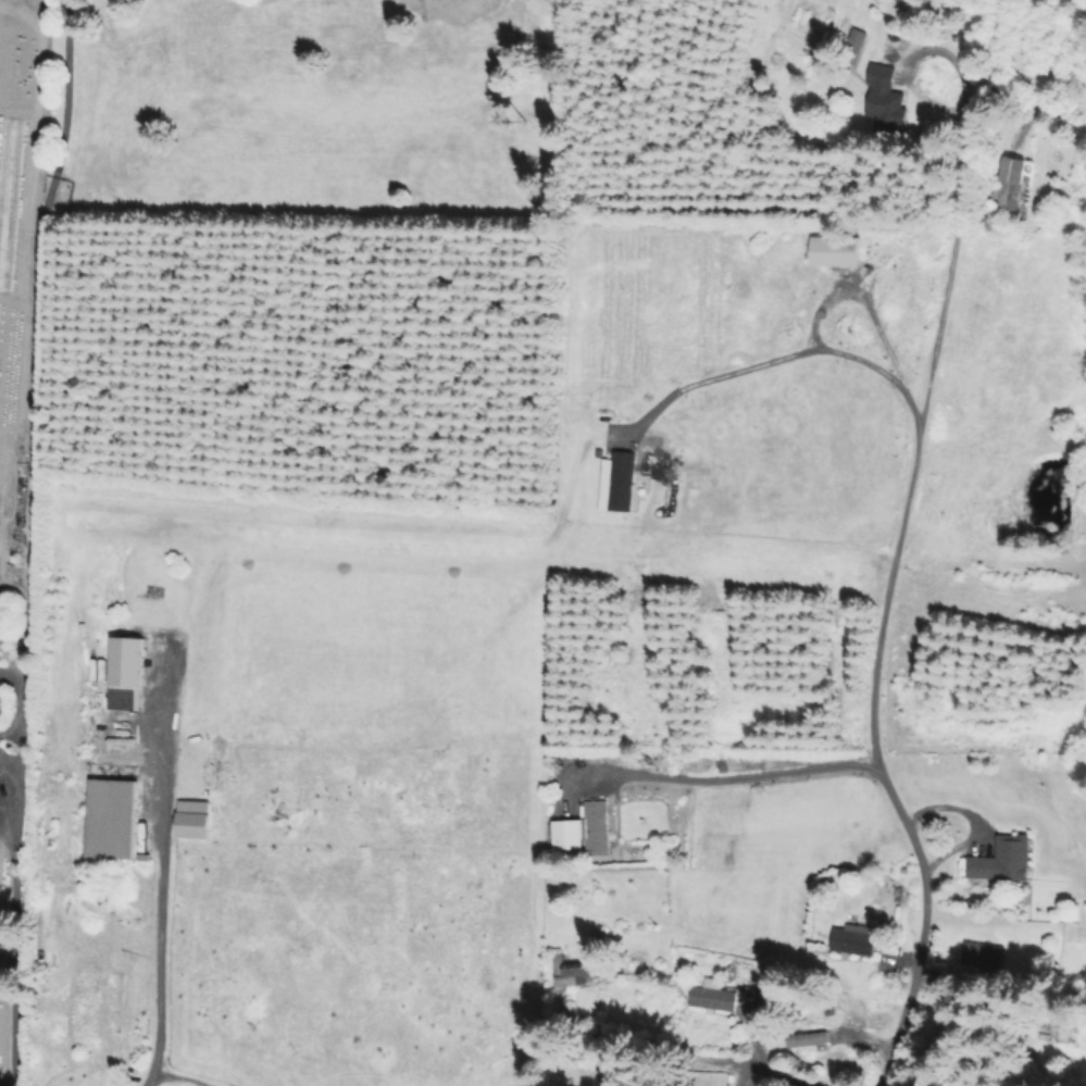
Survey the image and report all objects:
building: (887, 104)
building: (1012, 189)
road: (841, 292)
road: (783, 348)
road: (27, 389)
building: (619, 480)
road: (889, 606)
building: (129, 672)
road: (725, 772)
road: (5, 790)
building: (197, 816)
building: (586, 828)
building: (1004, 859)
road: (164, 871)
building: (852, 943)
road: (8, 959)
building: (857, 1015)
road: (177, 1076)

